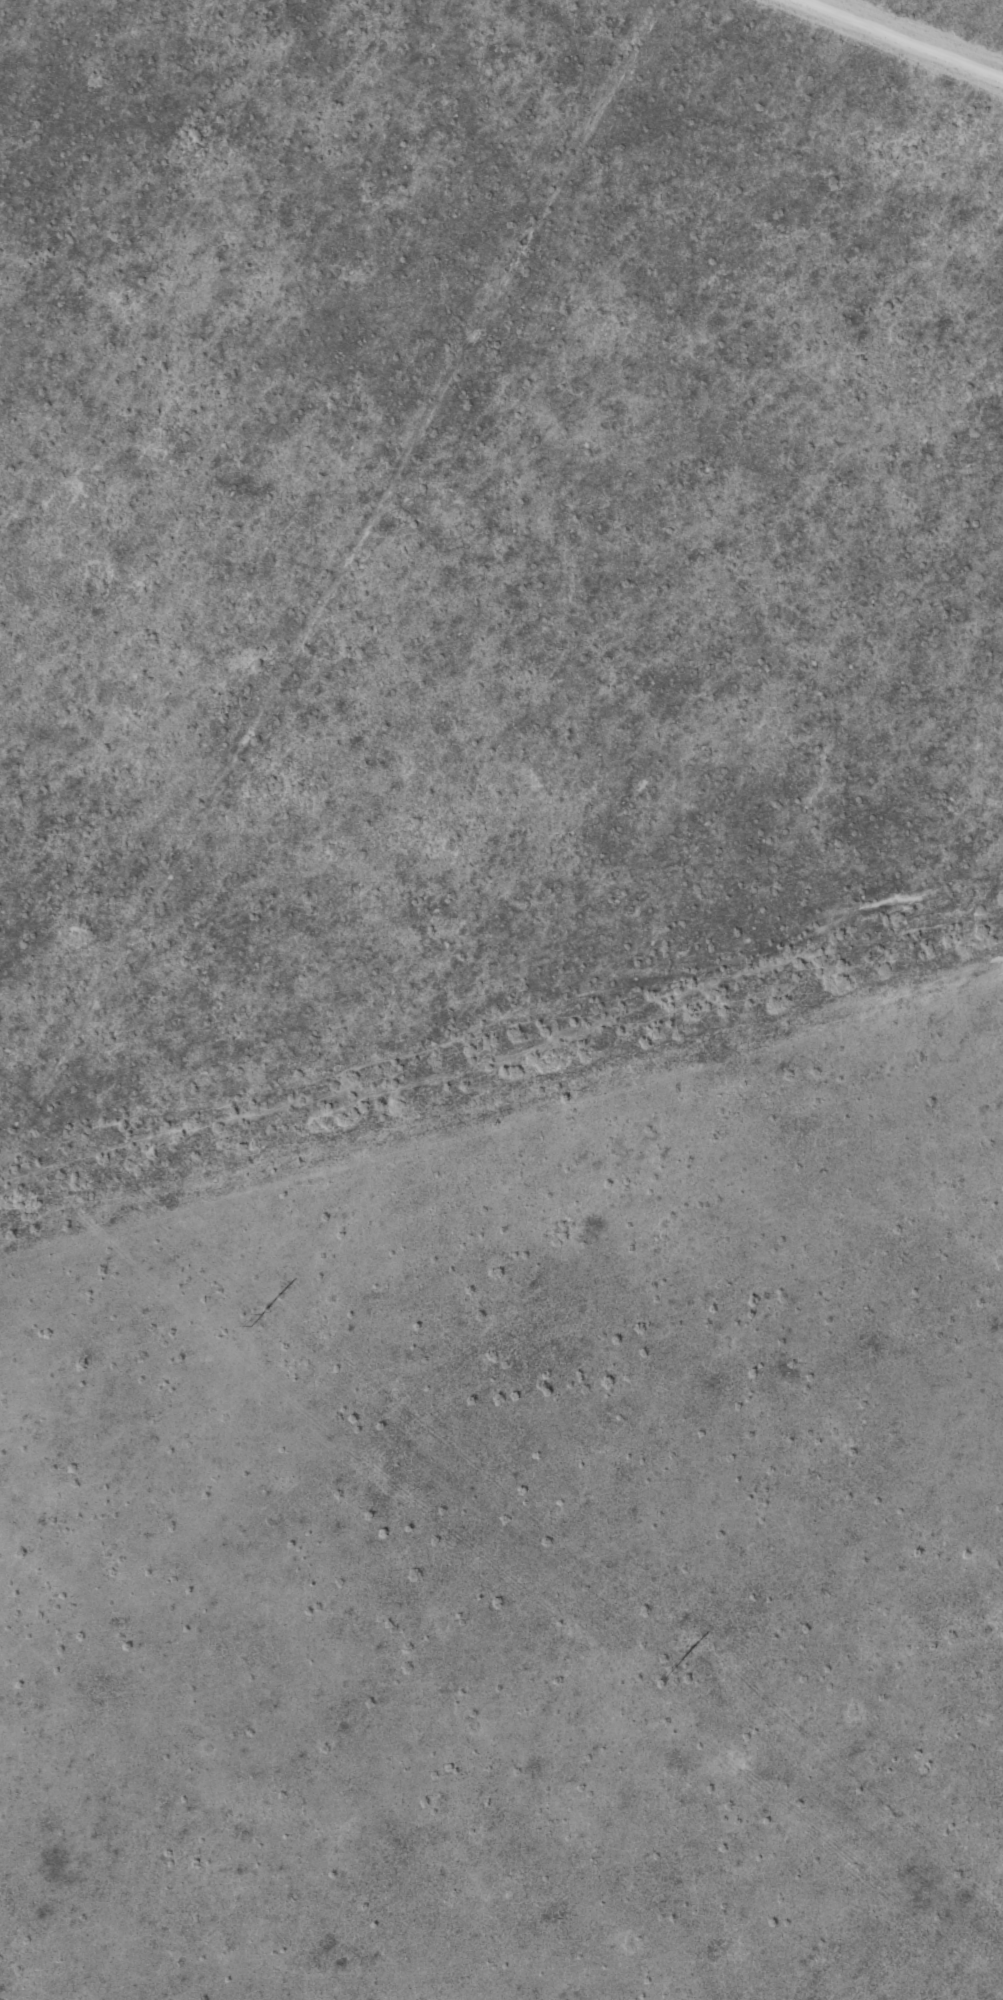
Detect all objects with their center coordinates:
power tower: (255, 1319)
power tower: (669, 1672)

